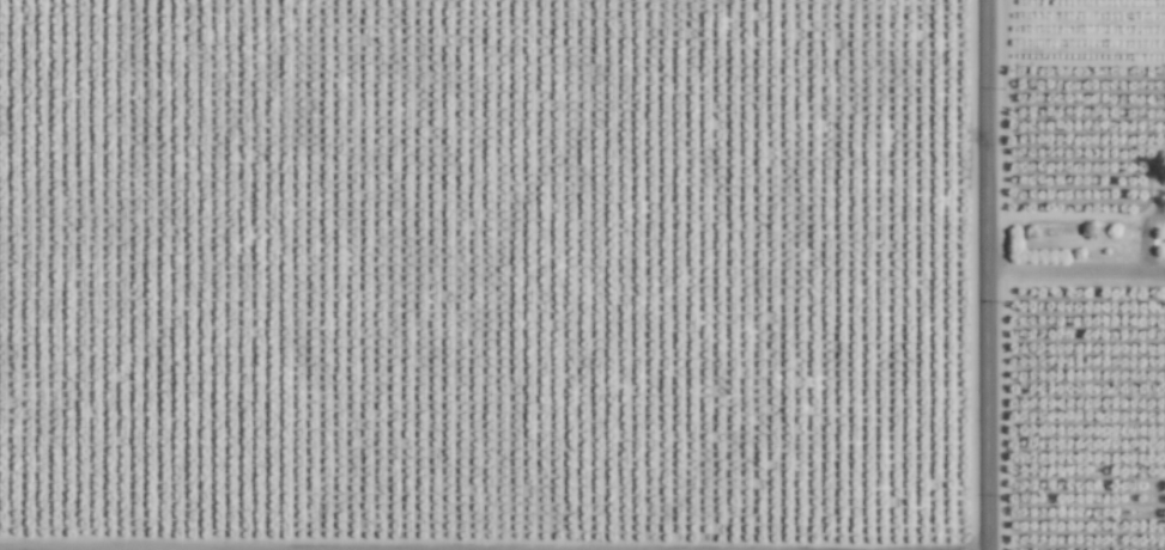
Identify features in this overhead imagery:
road: (1143, 237)
road: (1066, 270)
road: (1155, 271)
road: (985, 274)

